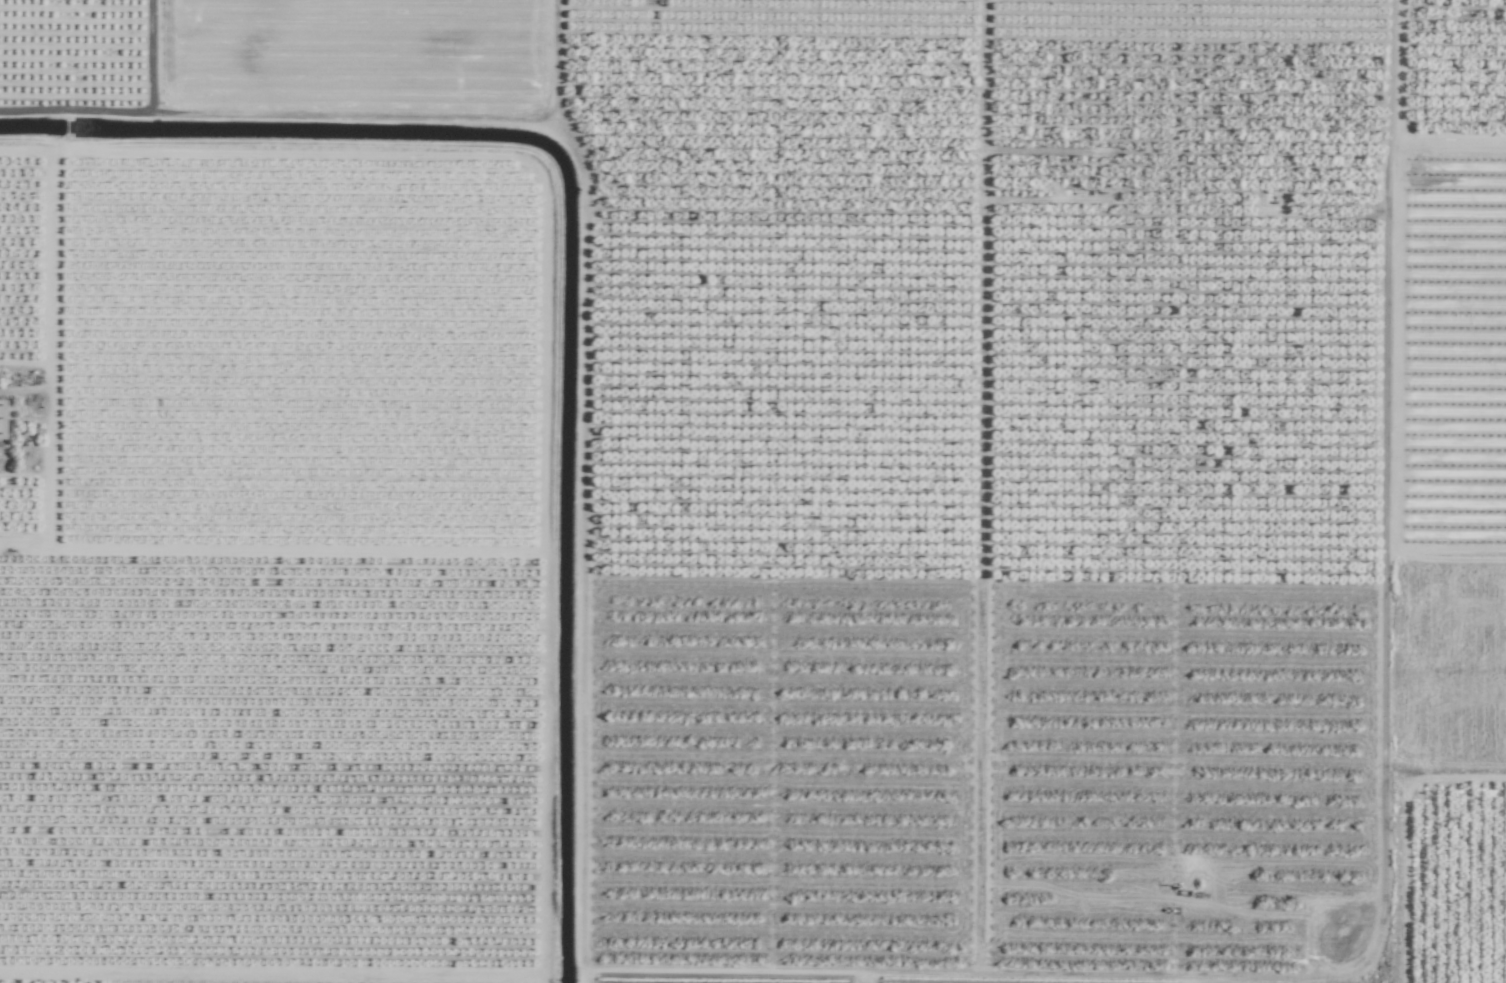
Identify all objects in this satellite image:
building: (1, 419)

